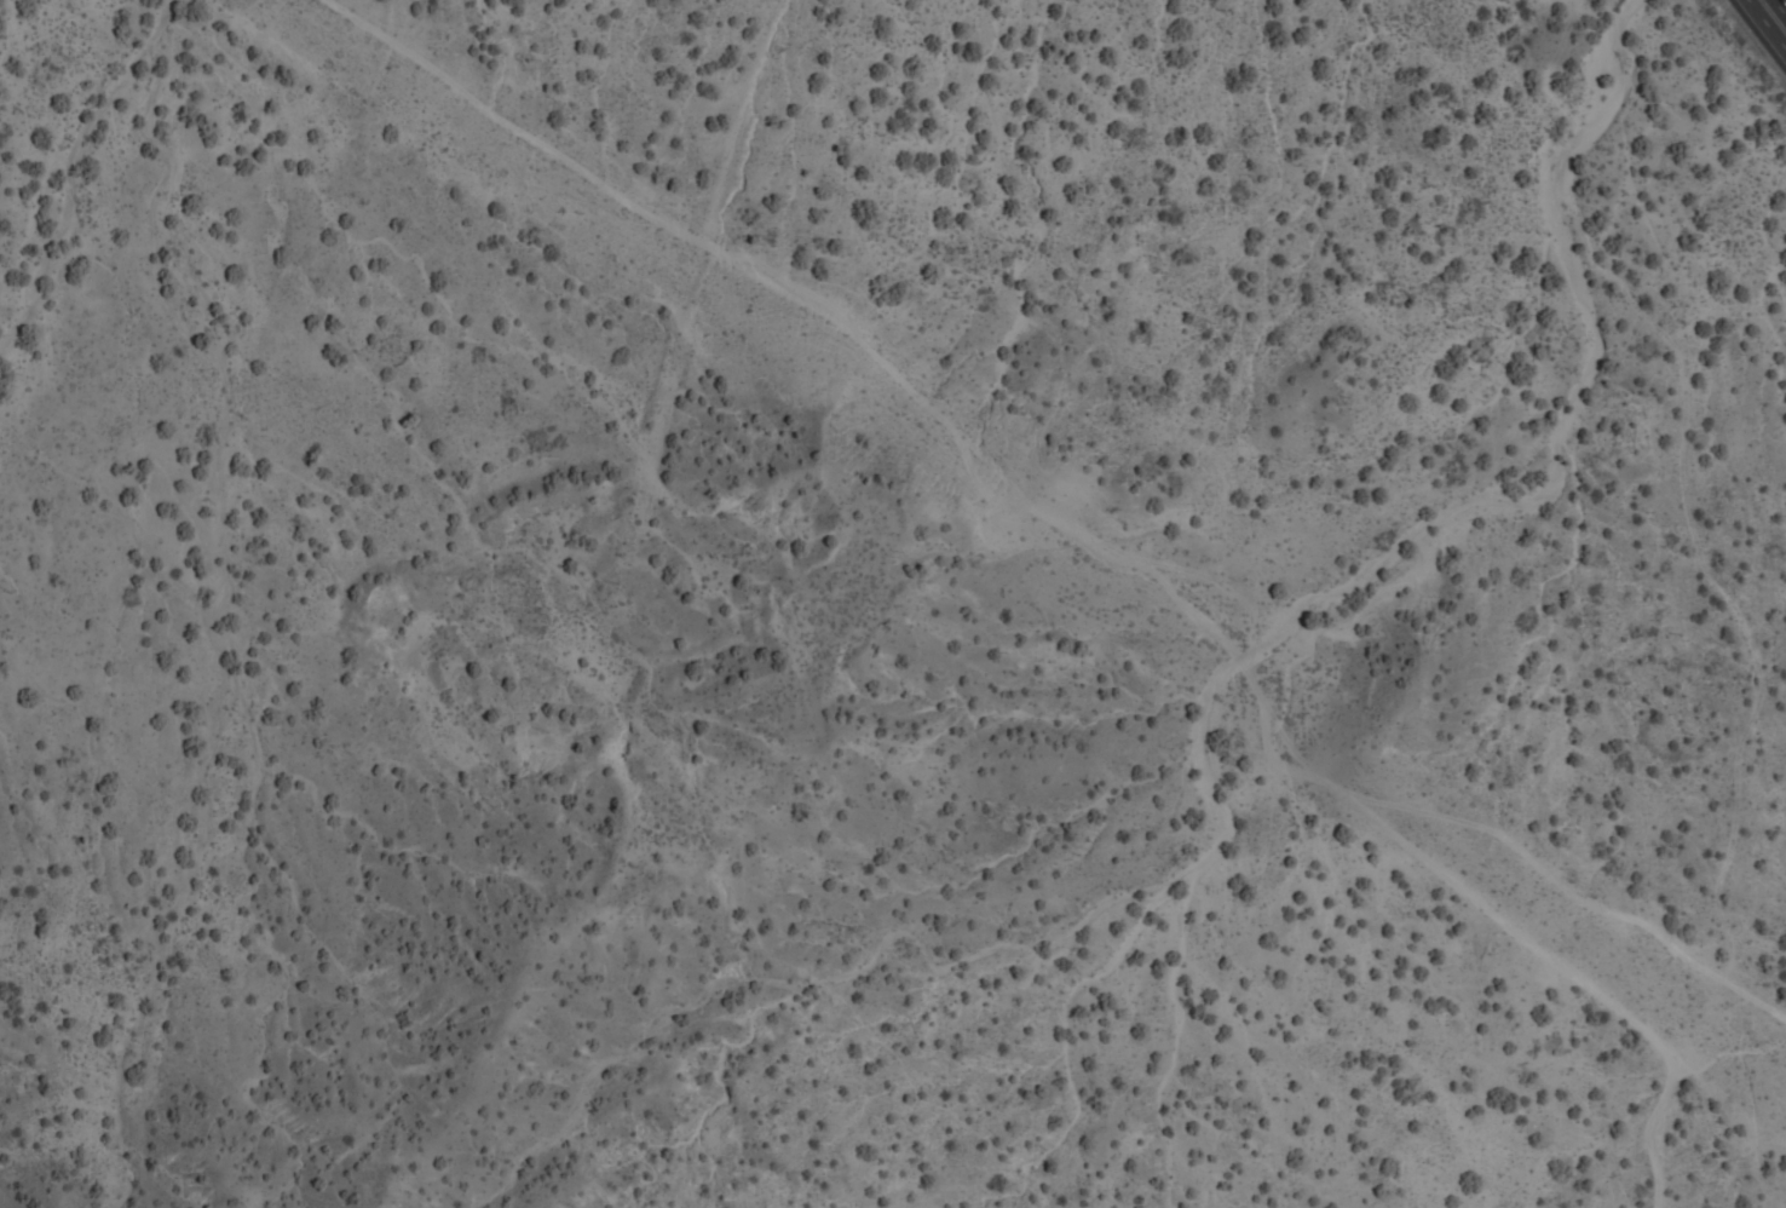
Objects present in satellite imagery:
road: (1776, 11)
road: (1764, 27)

